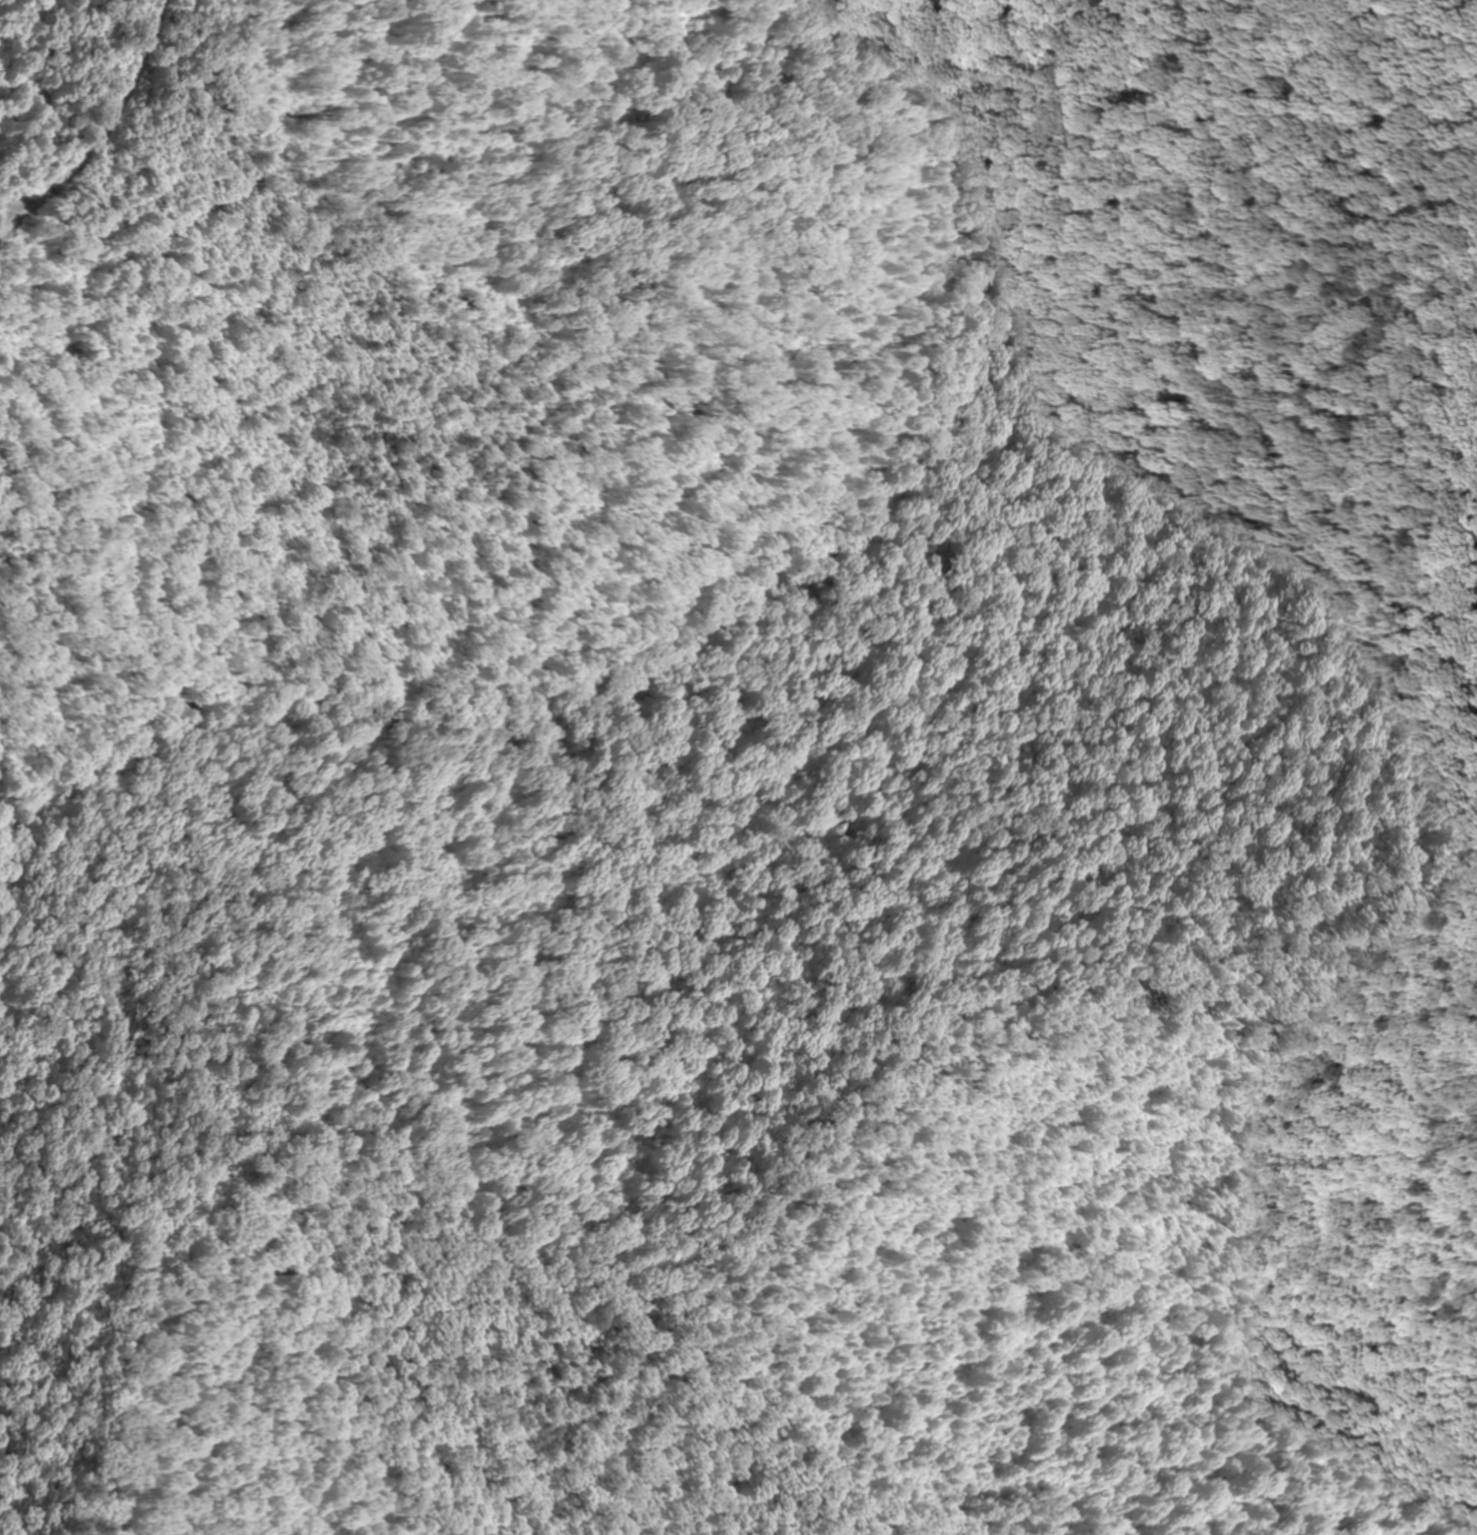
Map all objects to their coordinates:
road: (115, 151)

